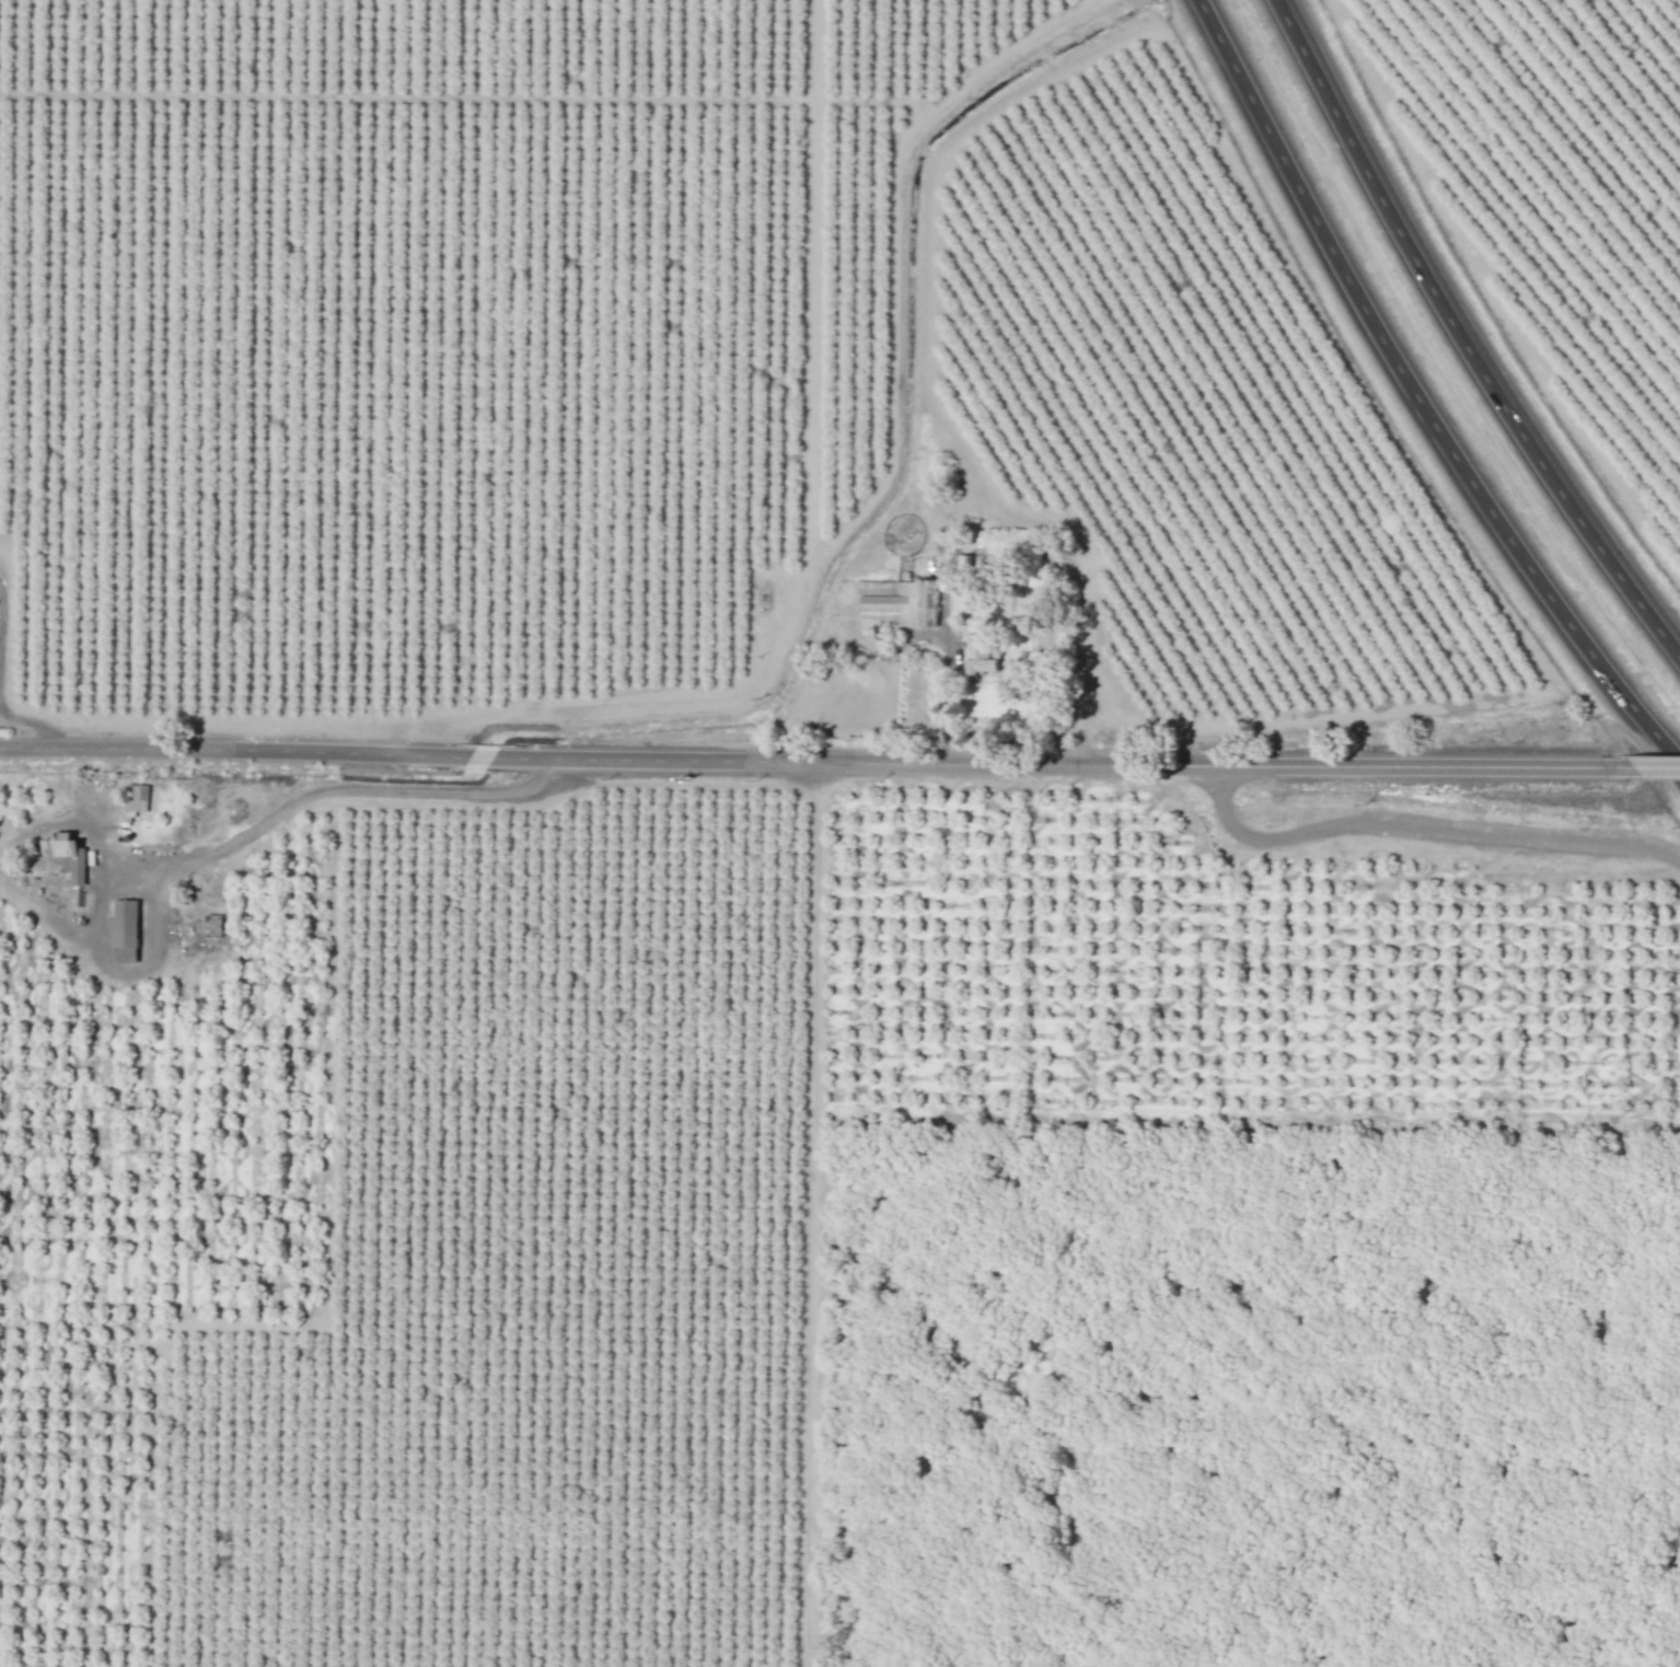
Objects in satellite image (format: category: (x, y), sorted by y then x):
road: (1464, 335)
road: (1417, 397)
building: (895, 602)
building: (980, 660)
road: (949, 698)
road: (34, 725)
road: (818, 766)
road: (1658, 776)
road: (329, 789)
building: (134, 797)
road: (1427, 827)
building: (66, 853)
building: (125, 930)

